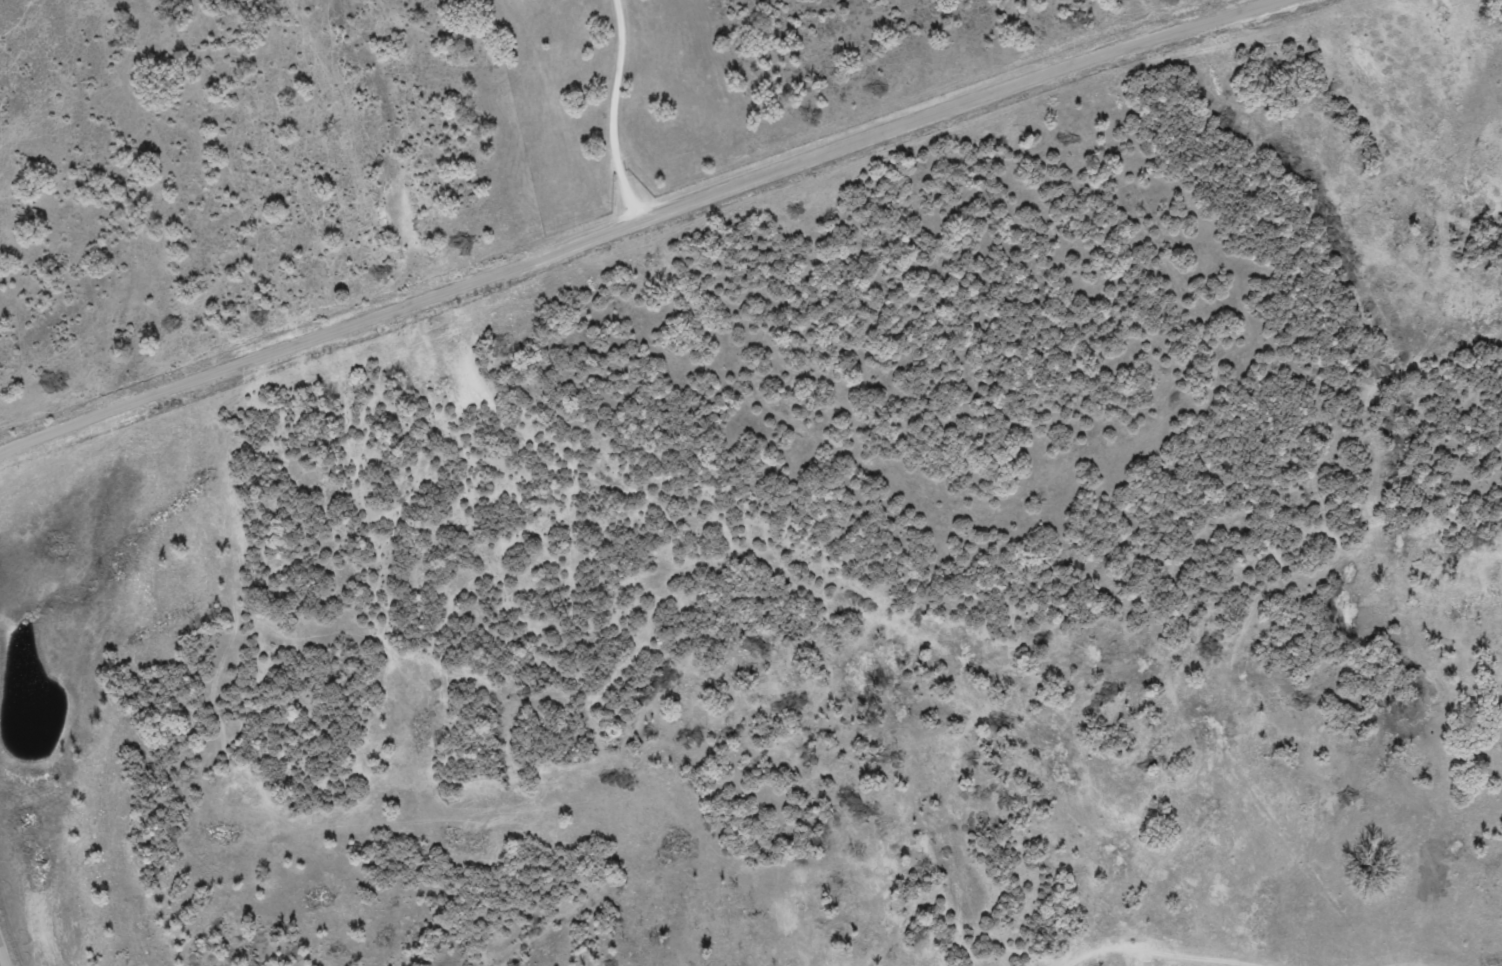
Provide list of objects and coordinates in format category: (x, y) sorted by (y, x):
road: (642, 219)

